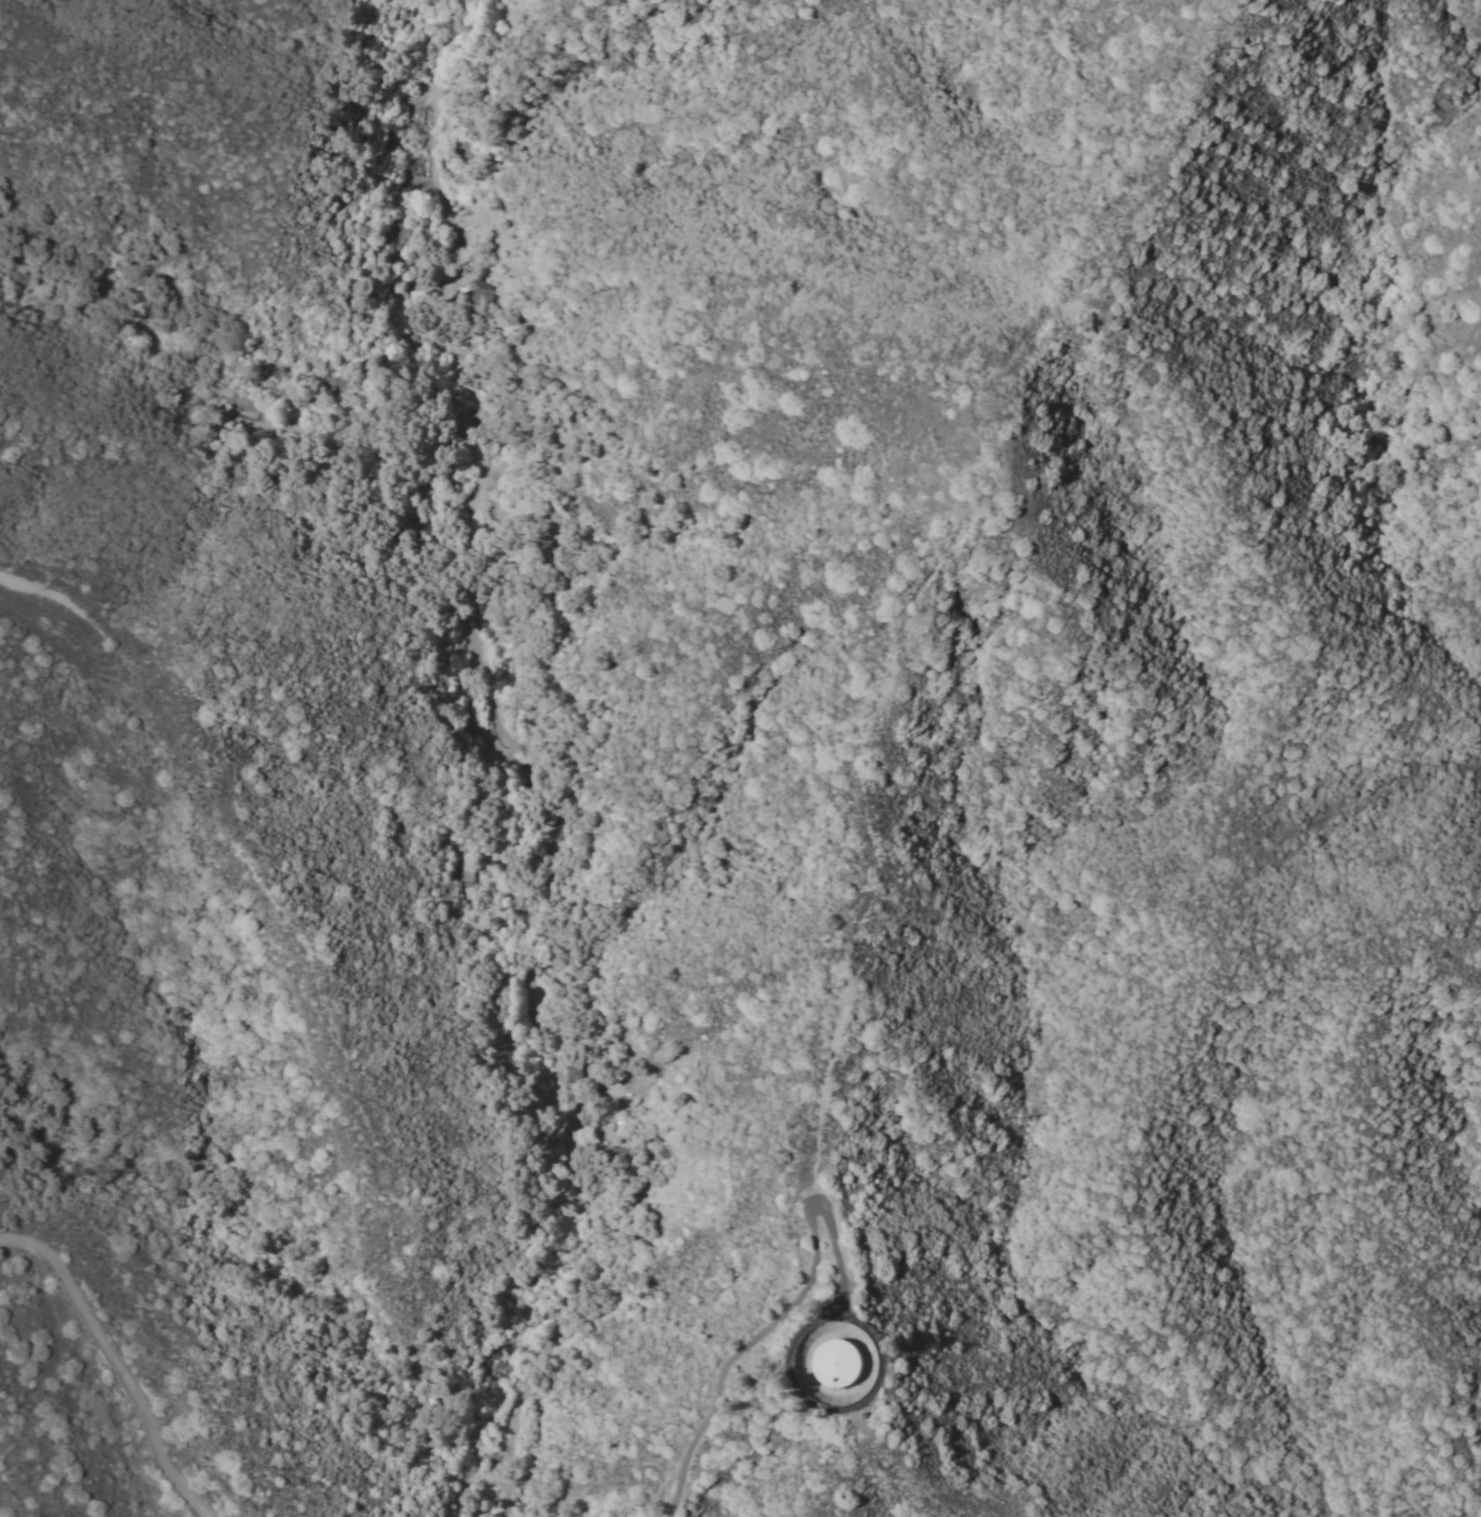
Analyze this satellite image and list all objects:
building: (480, 301)
road: (480, 770)
road: (232, 843)
building: (573, 1073)
building: (621, 1129)
building: (615, 1155)
road: (784, 1312)
road: (118, 1361)
building: (838, 1364)
road: (469, 1487)

